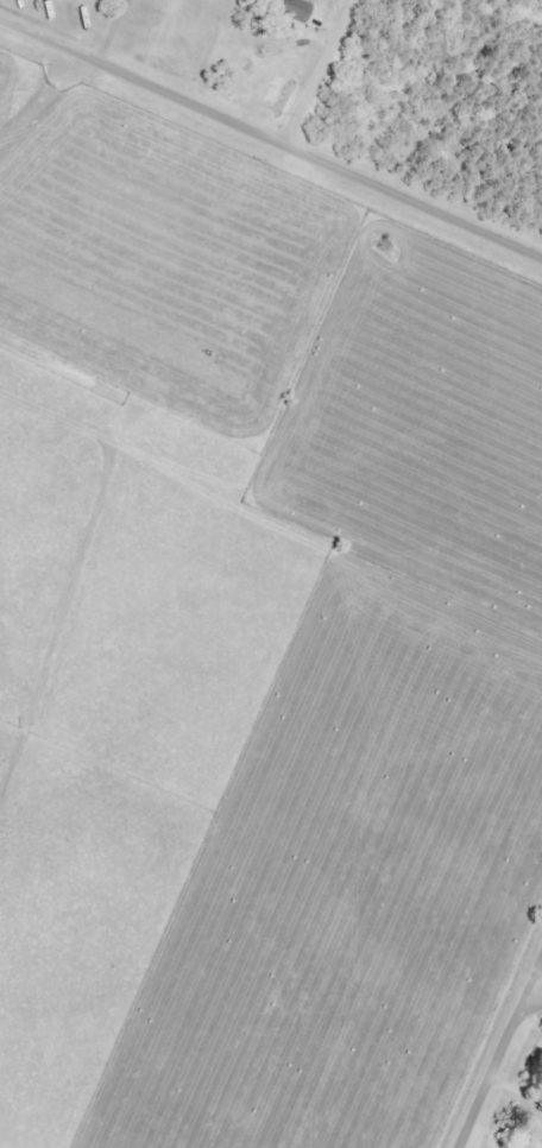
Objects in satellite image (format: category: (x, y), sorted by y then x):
building: (289, 12)
road: (319, 72)
road: (39, 100)
road: (271, 139)
road: (537, 984)
road: (497, 1055)

